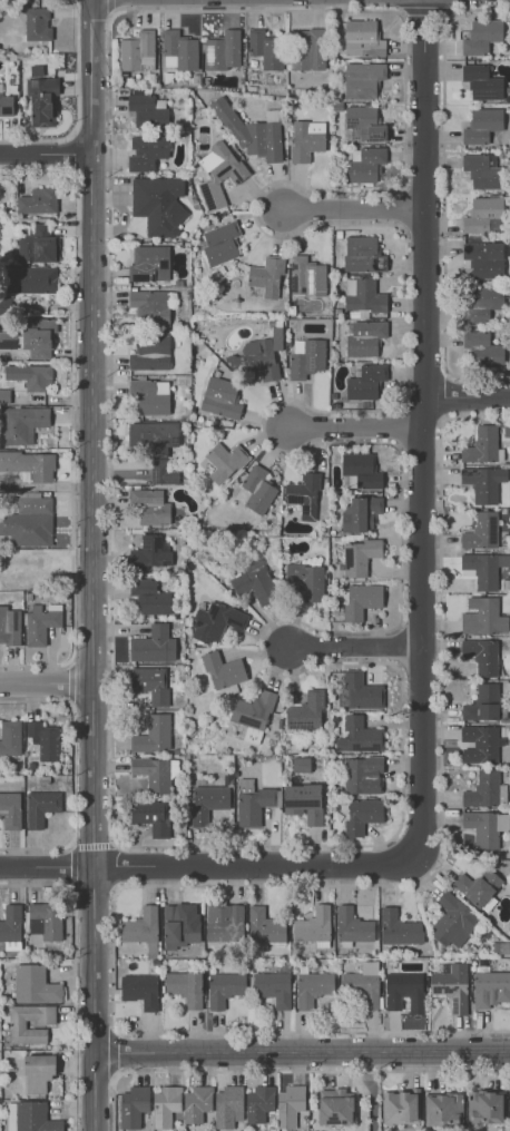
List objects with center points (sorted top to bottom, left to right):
road: (110, 6)
building: (37, 21)
building: (482, 36)
building: (362, 38)
building: (265, 49)
building: (306, 49)
building: (178, 50)
building: (222, 50)
building: (137, 51)
road: (78, 63)
building: (362, 79)
building: (481, 81)
building: (40, 97)
building: (6, 104)
building: (148, 110)
building: (363, 122)
building: (482, 124)
building: (251, 130)
building: (305, 139)
building: (146, 151)
road: (73, 153)
road: (45, 154)
building: (364, 163)
building: (482, 170)
building: (218, 173)
road: (443, 190)
building: (37, 200)
road: (91, 204)
building: (157, 204)
road: (349, 208)
building: (483, 215)
building: (220, 243)
building: (37, 244)
building: (362, 254)
building: (483, 257)
building: (149, 263)
building: (266, 276)
building: (306, 276)
building: (29, 279)
building: (362, 294)
building: (481, 302)
building: (150, 305)
building: (6, 306)
building: (38, 336)
building: (364, 336)
building: (8, 340)
building: (482, 350)
building: (150, 351)
building: (306, 357)
building: (255, 358)
building: (30, 375)
building: (365, 381)
building: (4, 395)
building: (149, 395)
road: (447, 396)
road: (465, 396)
building: (220, 397)
road: (71, 414)
building: (22, 423)
road: (399, 426)
road: (352, 431)
road: (423, 431)
building: (153, 434)
building: (482, 445)
building: (224, 461)
building: (29, 463)
building: (361, 471)
building: (163, 473)
building: (483, 482)
building: (257, 489)
building: (304, 494)
building: (149, 505)
building: (360, 513)
building: (28, 520)
building: (481, 530)
building: (150, 552)
building: (359, 555)
building: (481, 569)
building: (254, 580)
building: (306, 580)
building: (149, 596)
building: (359, 600)
building: (482, 616)
building: (41, 621)
building: (215, 621)
building: (9, 624)
building: (154, 645)
road: (398, 646)
road: (352, 647)
building: (481, 655)
building: (223, 670)
road: (69, 683)
building: (149, 683)
road: (46, 687)
building: (361, 691)
building: (482, 702)
building: (305, 711)
building: (252, 714)
building: (154, 734)
building: (359, 736)
building: (9, 737)
building: (43, 739)
road: (72, 739)
building: (479, 744)
building: (301, 764)
road: (94, 770)
building: (155, 773)
building: (361, 774)
building: (486, 789)
building: (207, 801)
building: (254, 801)
building: (303, 801)
building: (40, 806)
building: (10, 809)
building: (362, 815)
building: (150, 816)
road: (402, 816)
building: (486, 827)
road: (70, 845)
road: (72, 845)
road: (35, 848)
road: (114, 865)
road: (205, 866)
road: (267, 884)
road: (92, 886)
building: (478, 886)
building: (453, 921)
building: (43, 922)
building: (224, 922)
building: (180, 924)
building: (352, 925)
building: (11, 926)
building: (313, 926)
building: (264, 927)
building: (399, 927)
building: (141, 928)
road: (72, 972)
building: (35, 984)
building: (362, 984)
building: (451, 985)
building: (185, 986)
building: (224, 987)
building: (273, 987)
building: (312, 987)
building: (401, 987)
building: (491, 987)
building: (140, 990)
building: (29, 1022)
road: (302, 1051)
road: (114, 1052)
road: (284, 1070)
building: (37, 1072)
building: (258, 1102)
building: (196, 1103)
building: (288, 1104)
building: (133, 1105)
building: (165, 1105)
building: (227, 1105)
building: (335, 1105)
building: (400, 1107)
building: (484, 1107)
building: (443, 1108)
building: (35, 1117)

